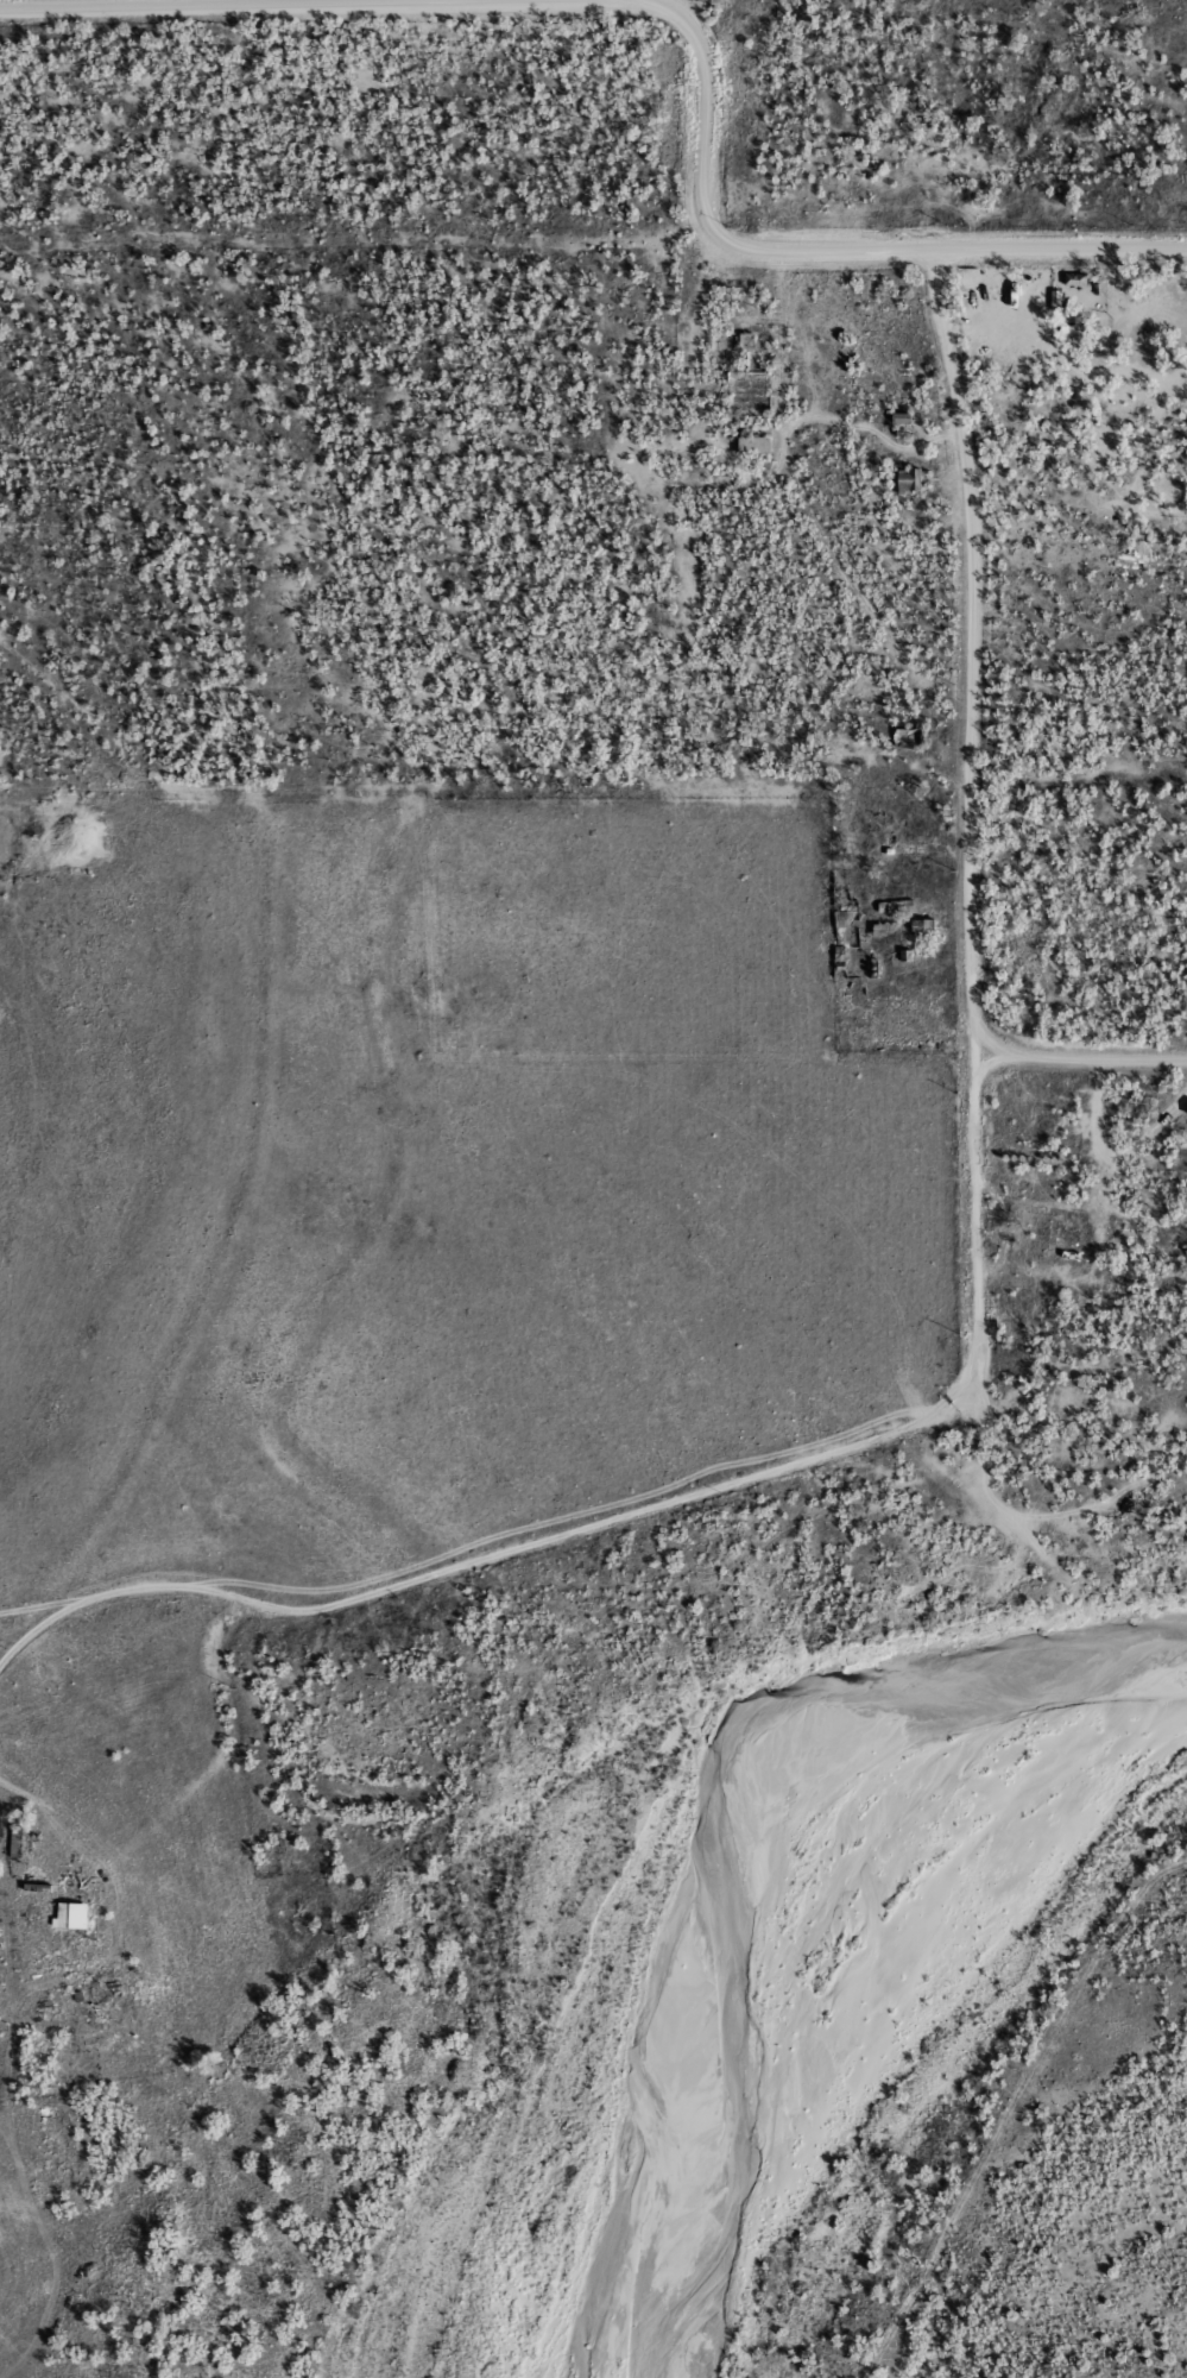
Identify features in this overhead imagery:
road: (223, 1)
road: (816, 249)
building: (1078, 279)
building: (1057, 300)
building: (750, 341)
building: (757, 445)
building: (913, 480)
road: (974, 652)
building: (915, 738)
building: (926, 929)
road: (1082, 1059)
road: (1111, 1160)
road: (655, 1502)
road: (46, 1624)
building: (20, 1839)
river: (779, 1883)
building: (72, 1915)

